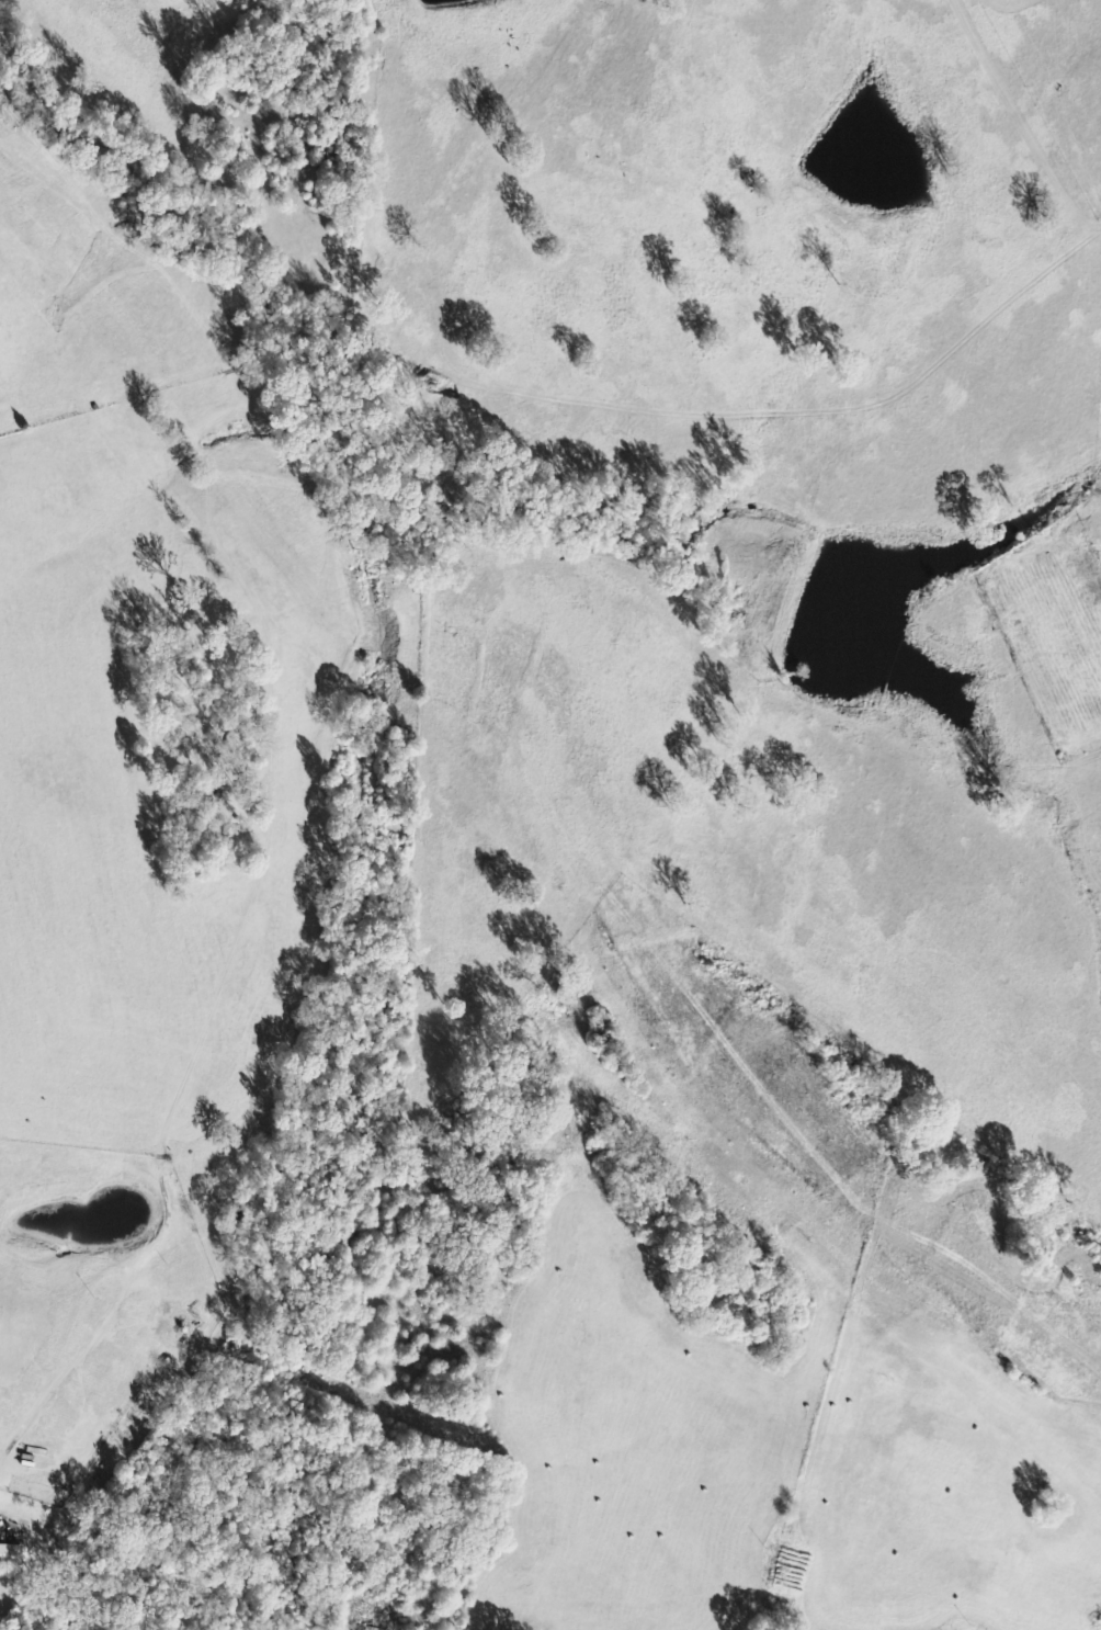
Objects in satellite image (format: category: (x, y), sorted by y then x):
building: (13, 1553)

